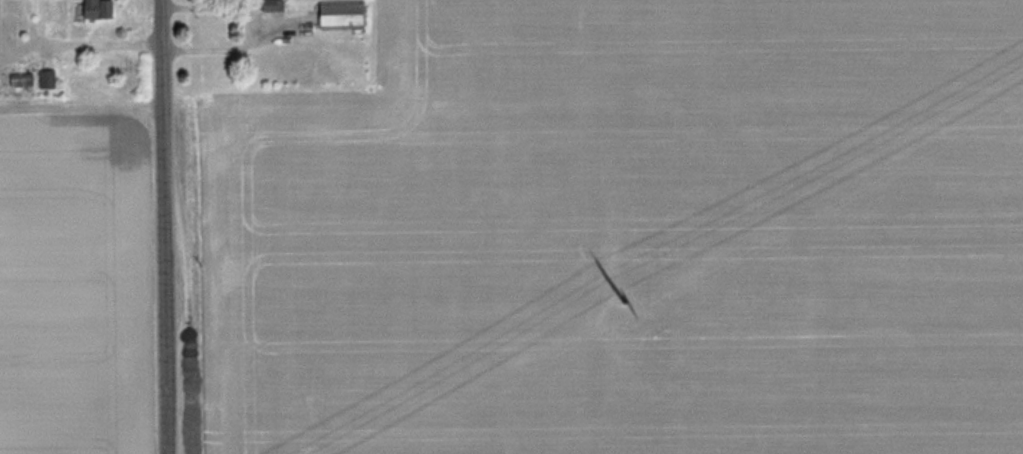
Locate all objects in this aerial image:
road: (195, 1)
building: (272, 4)
building: (99, 9)
building: (342, 13)
road: (230, 45)
building: (47, 77)
building: (22, 78)
road: (172, 226)
power tower: (632, 299)

